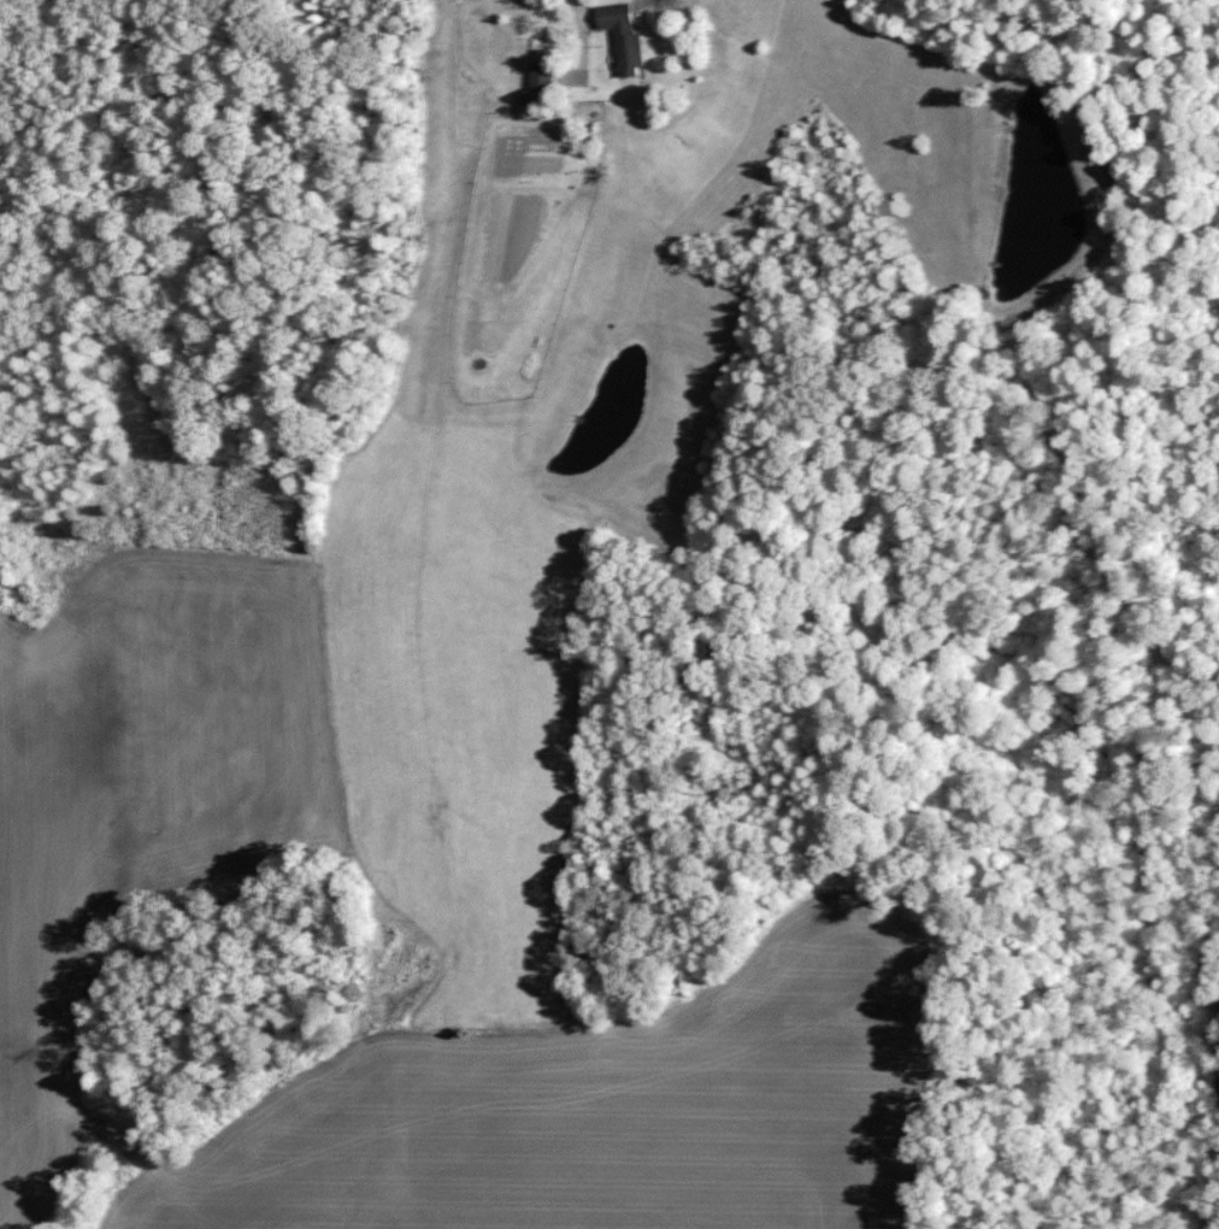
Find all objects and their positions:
building: (618, 35)
building: (537, 75)

